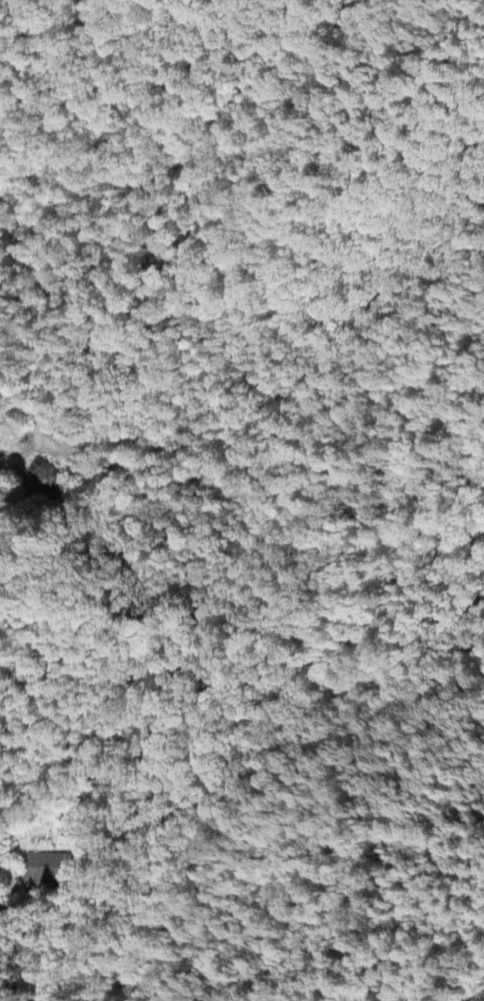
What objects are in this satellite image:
building: (46, 477)
building: (48, 873)
road: (48, 938)

